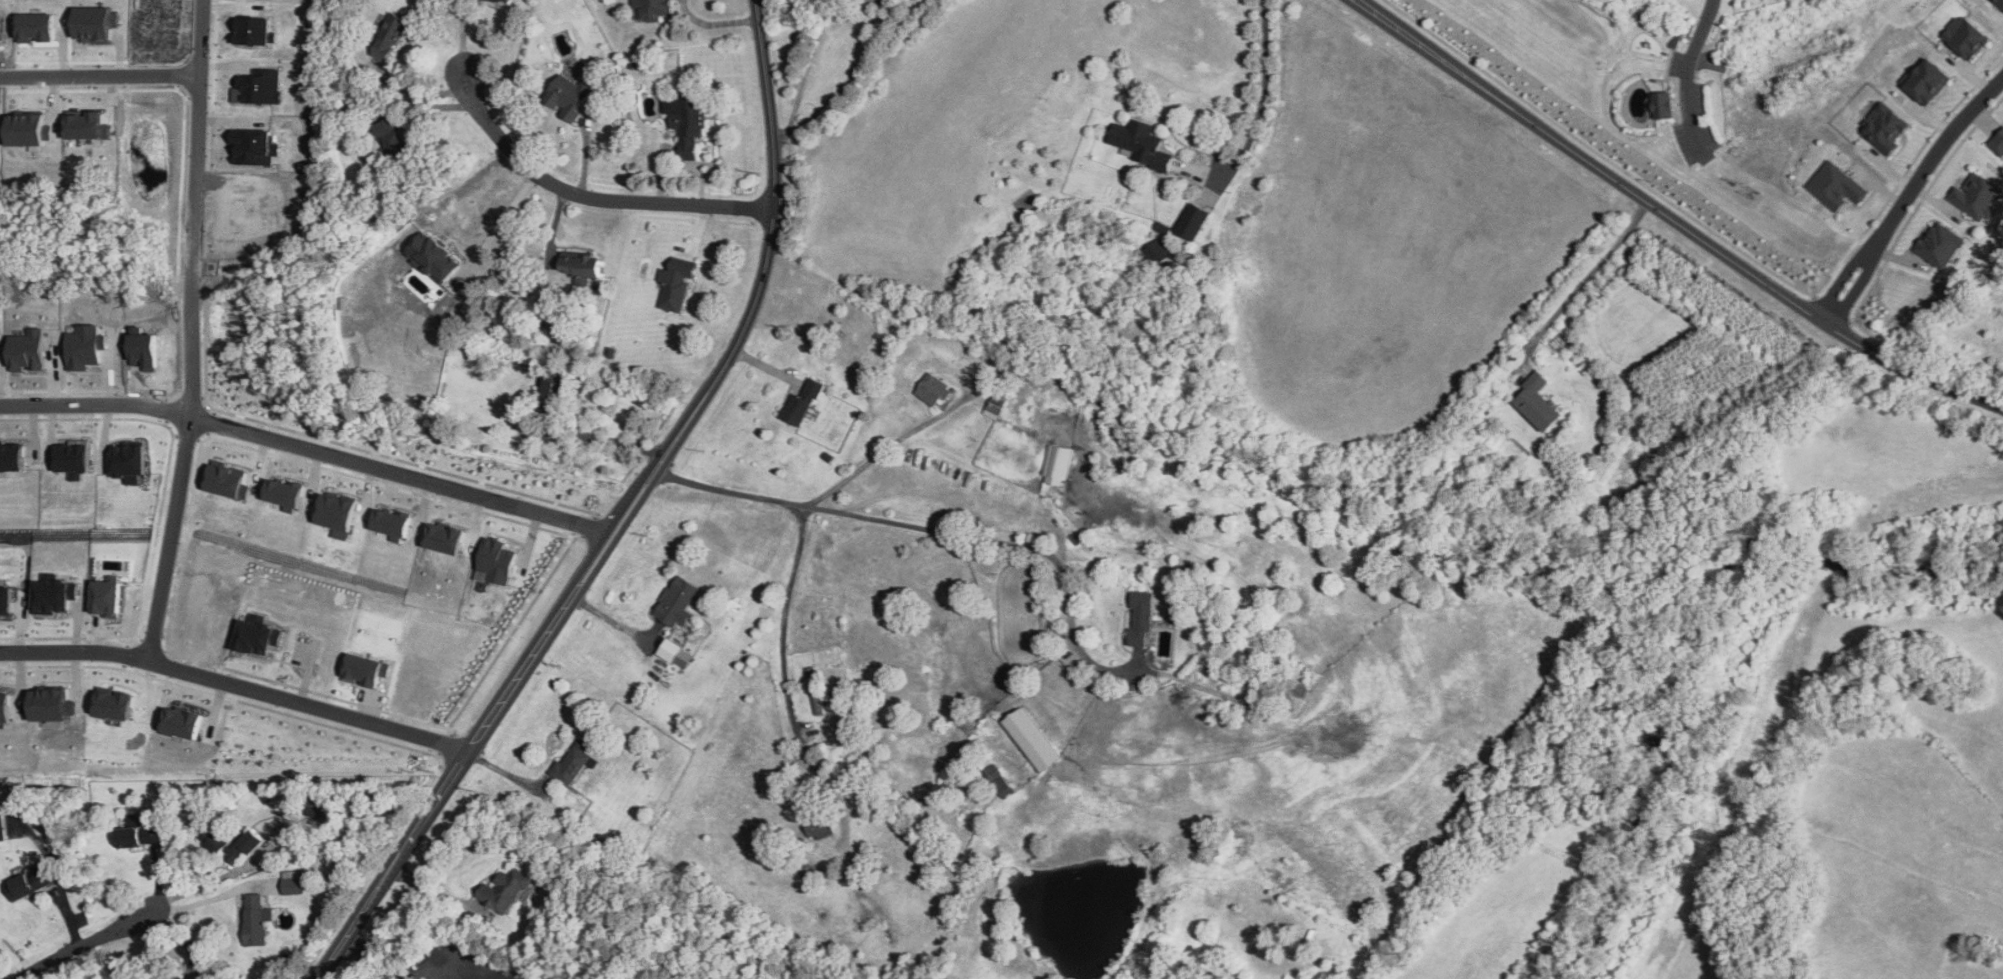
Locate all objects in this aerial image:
building: (887, 1)
building: (1999, 3)
building: (652, 9)
road: (716, 19)
building: (256, 30)
road: (462, 36)
building: (1965, 36)
building: (390, 37)
road: (811, 64)
road: (99, 75)
road: (1687, 78)
building: (1925, 80)
building: (258, 87)
road: (836, 92)
road: (419, 93)
building: (569, 96)
road: (1261, 96)
building: (1662, 100)
road: (426, 107)
building: (690, 125)
building: (1883, 126)
building: (393, 137)
building: (1998, 143)
building: (1140, 144)
building: (1835, 185)
road: (1907, 195)
building: (1977, 197)
road: (590, 198)
road: (1673, 219)
building: (1197, 221)
road: (513, 222)
road: (771, 240)
building: (1939, 244)
building: (1158, 252)
building: (434, 257)
building: (582, 266)
road: (1589, 276)
building: (676, 287)
road: (195, 331)
building: (86, 346)
building: (28, 349)
building: (933, 389)
building: (554, 397)
building: (997, 401)
building: (1538, 402)
road: (96, 404)
building: (797, 407)
road: (610, 440)
road: (879, 450)
building: (11, 457)
building: (72, 459)
building: (128, 461)
building: (1058, 463)
road: (658, 464)
road: (399, 472)
building: (226, 480)
road: (728, 489)
building: (283, 492)
building: (336, 510)
building: (391, 523)
road: (607, 529)
road: (617, 535)
building: (445, 537)
road: (1011, 542)
building: (498, 560)
building: (55, 595)
building: (107, 598)
building: (6, 600)
building: (678, 601)
building: (1141, 619)
building: (257, 636)
building: (671, 650)
road: (74, 652)
road: (782, 662)
building: (365, 670)
building: (1295, 690)
building: (817, 691)
building: (114, 703)
building: (52, 704)
road: (311, 704)
building: (5, 706)
building: (182, 721)
building: (1031, 740)
building: (573, 762)
building: (998, 779)
road: (450, 786)
building: (2, 828)
building: (821, 831)
building: (140, 835)
building: (237, 847)
building: (32, 881)
building: (293, 883)
building: (505, 890)
road: (197, 903)
building: (258, 917)
road: (86, 943)
building: (183, 978)
building: (189, 978)

